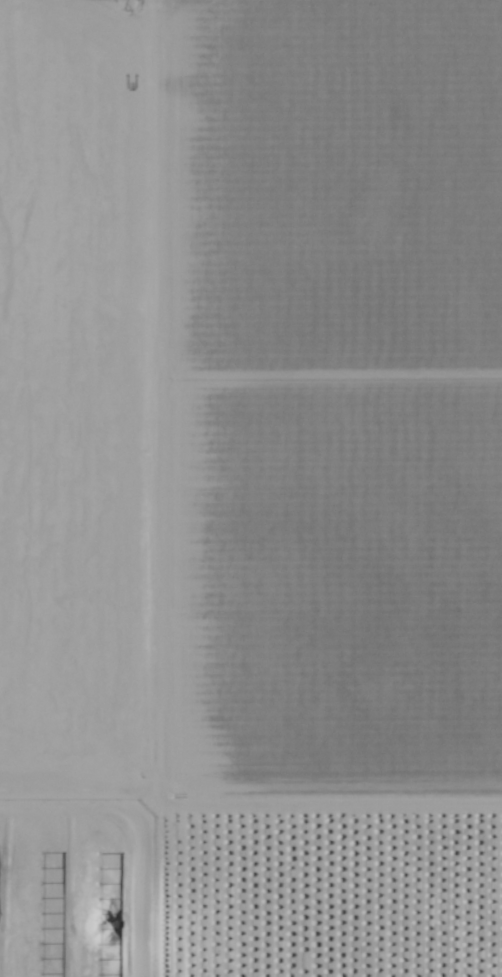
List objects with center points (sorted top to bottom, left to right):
road: (144, 488)

